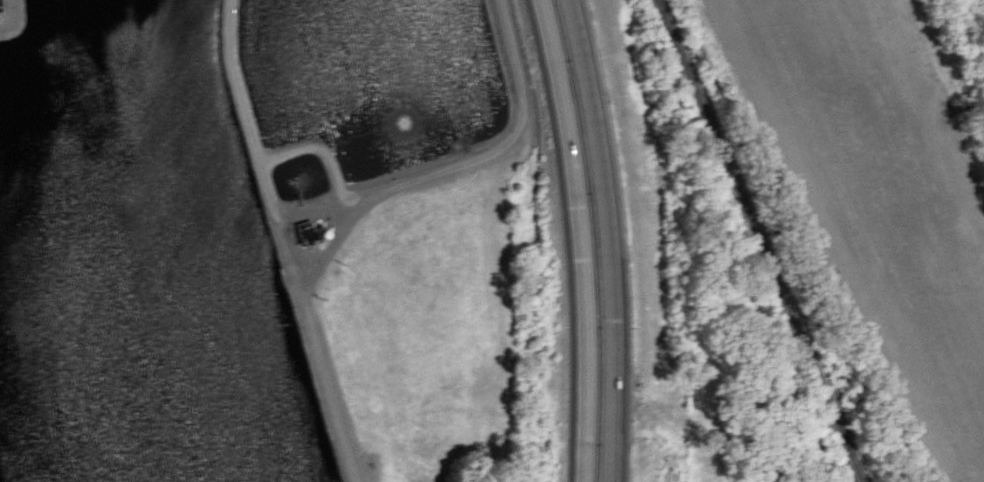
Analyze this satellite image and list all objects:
road: (488, 152)
building: (303, 230)
road: (579, 239)
road: (605, 239)
railway: (752, 239)
railway: (854, 480)

